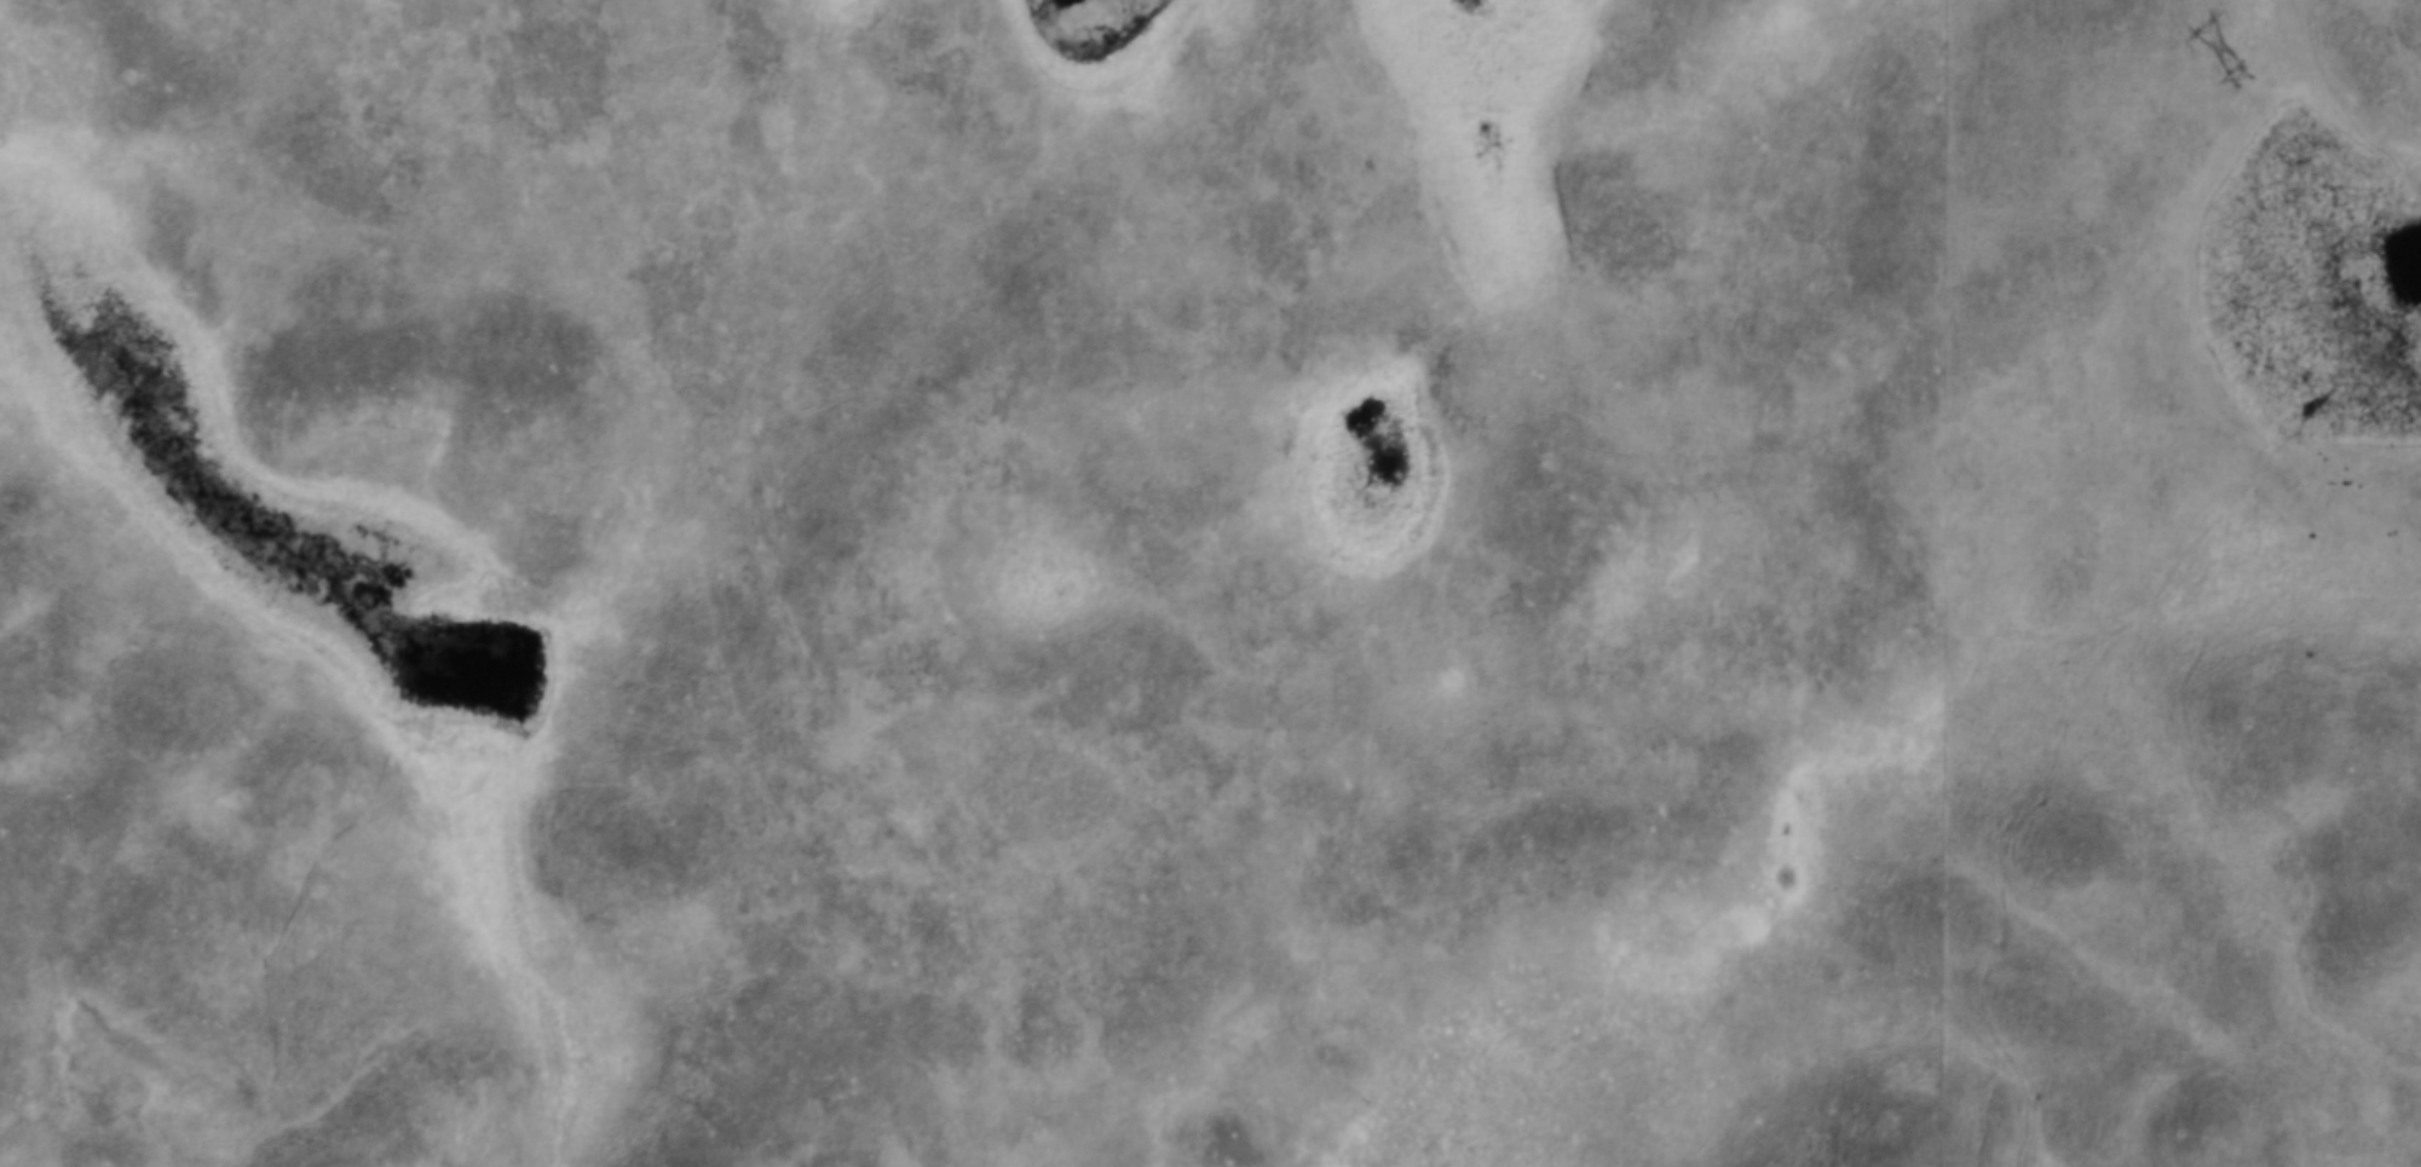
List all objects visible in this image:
power tower: (2229, 76)

